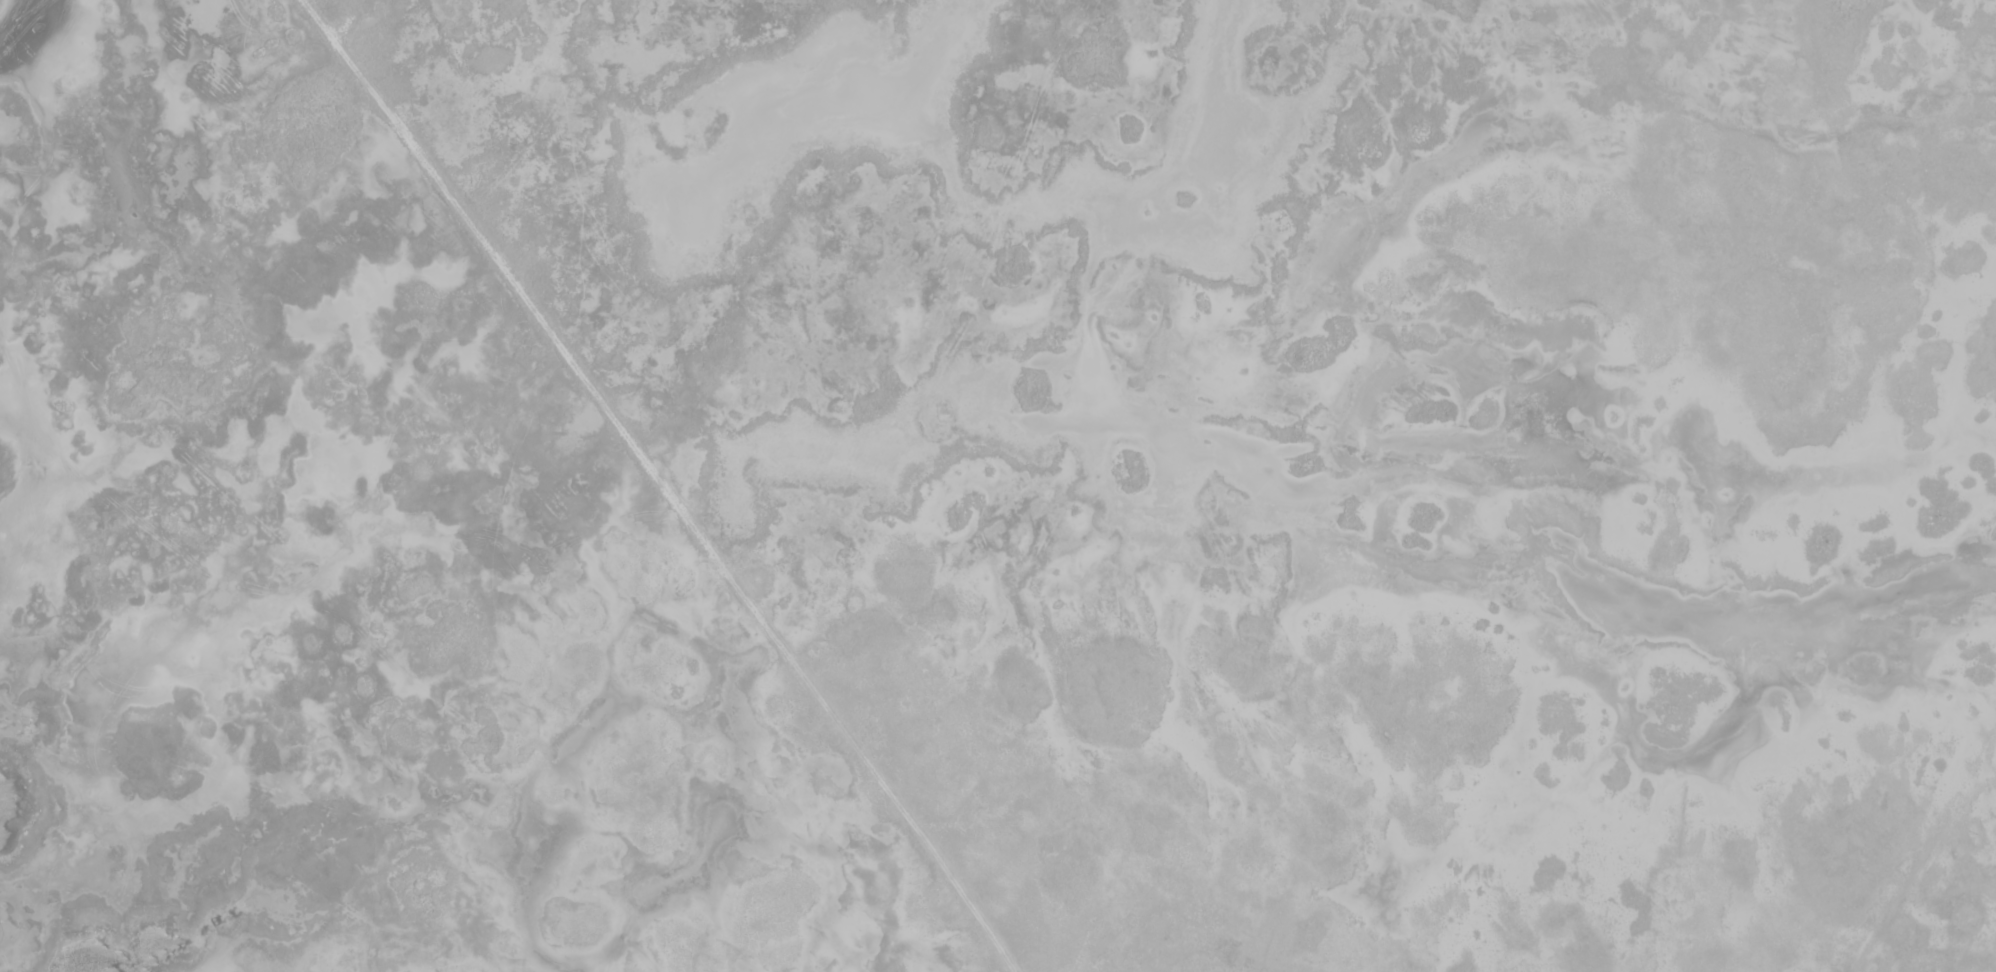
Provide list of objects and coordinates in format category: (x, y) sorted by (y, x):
park: (998, 486)

